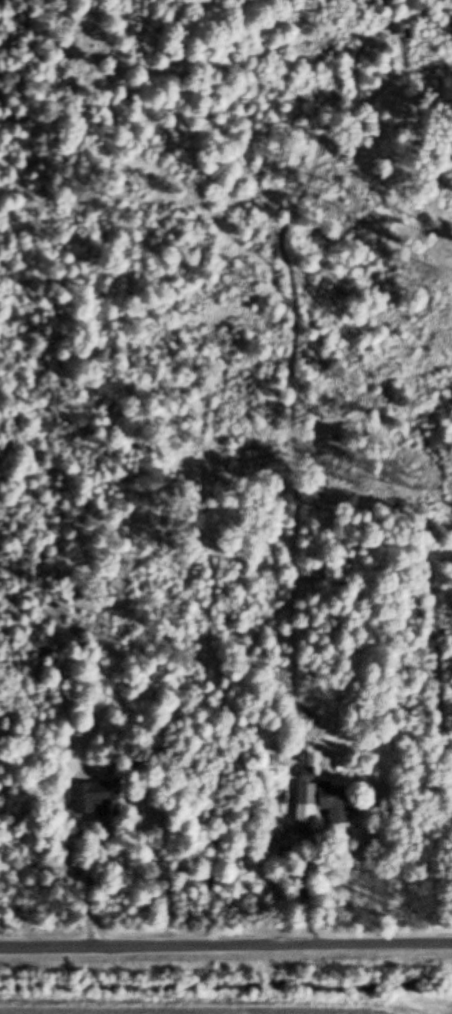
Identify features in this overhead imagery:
building: (310, 776)
building: (93, 797)
building: (309, 804)
building: (337, 804)
road: (226, 945)
crop: (228, 988)

